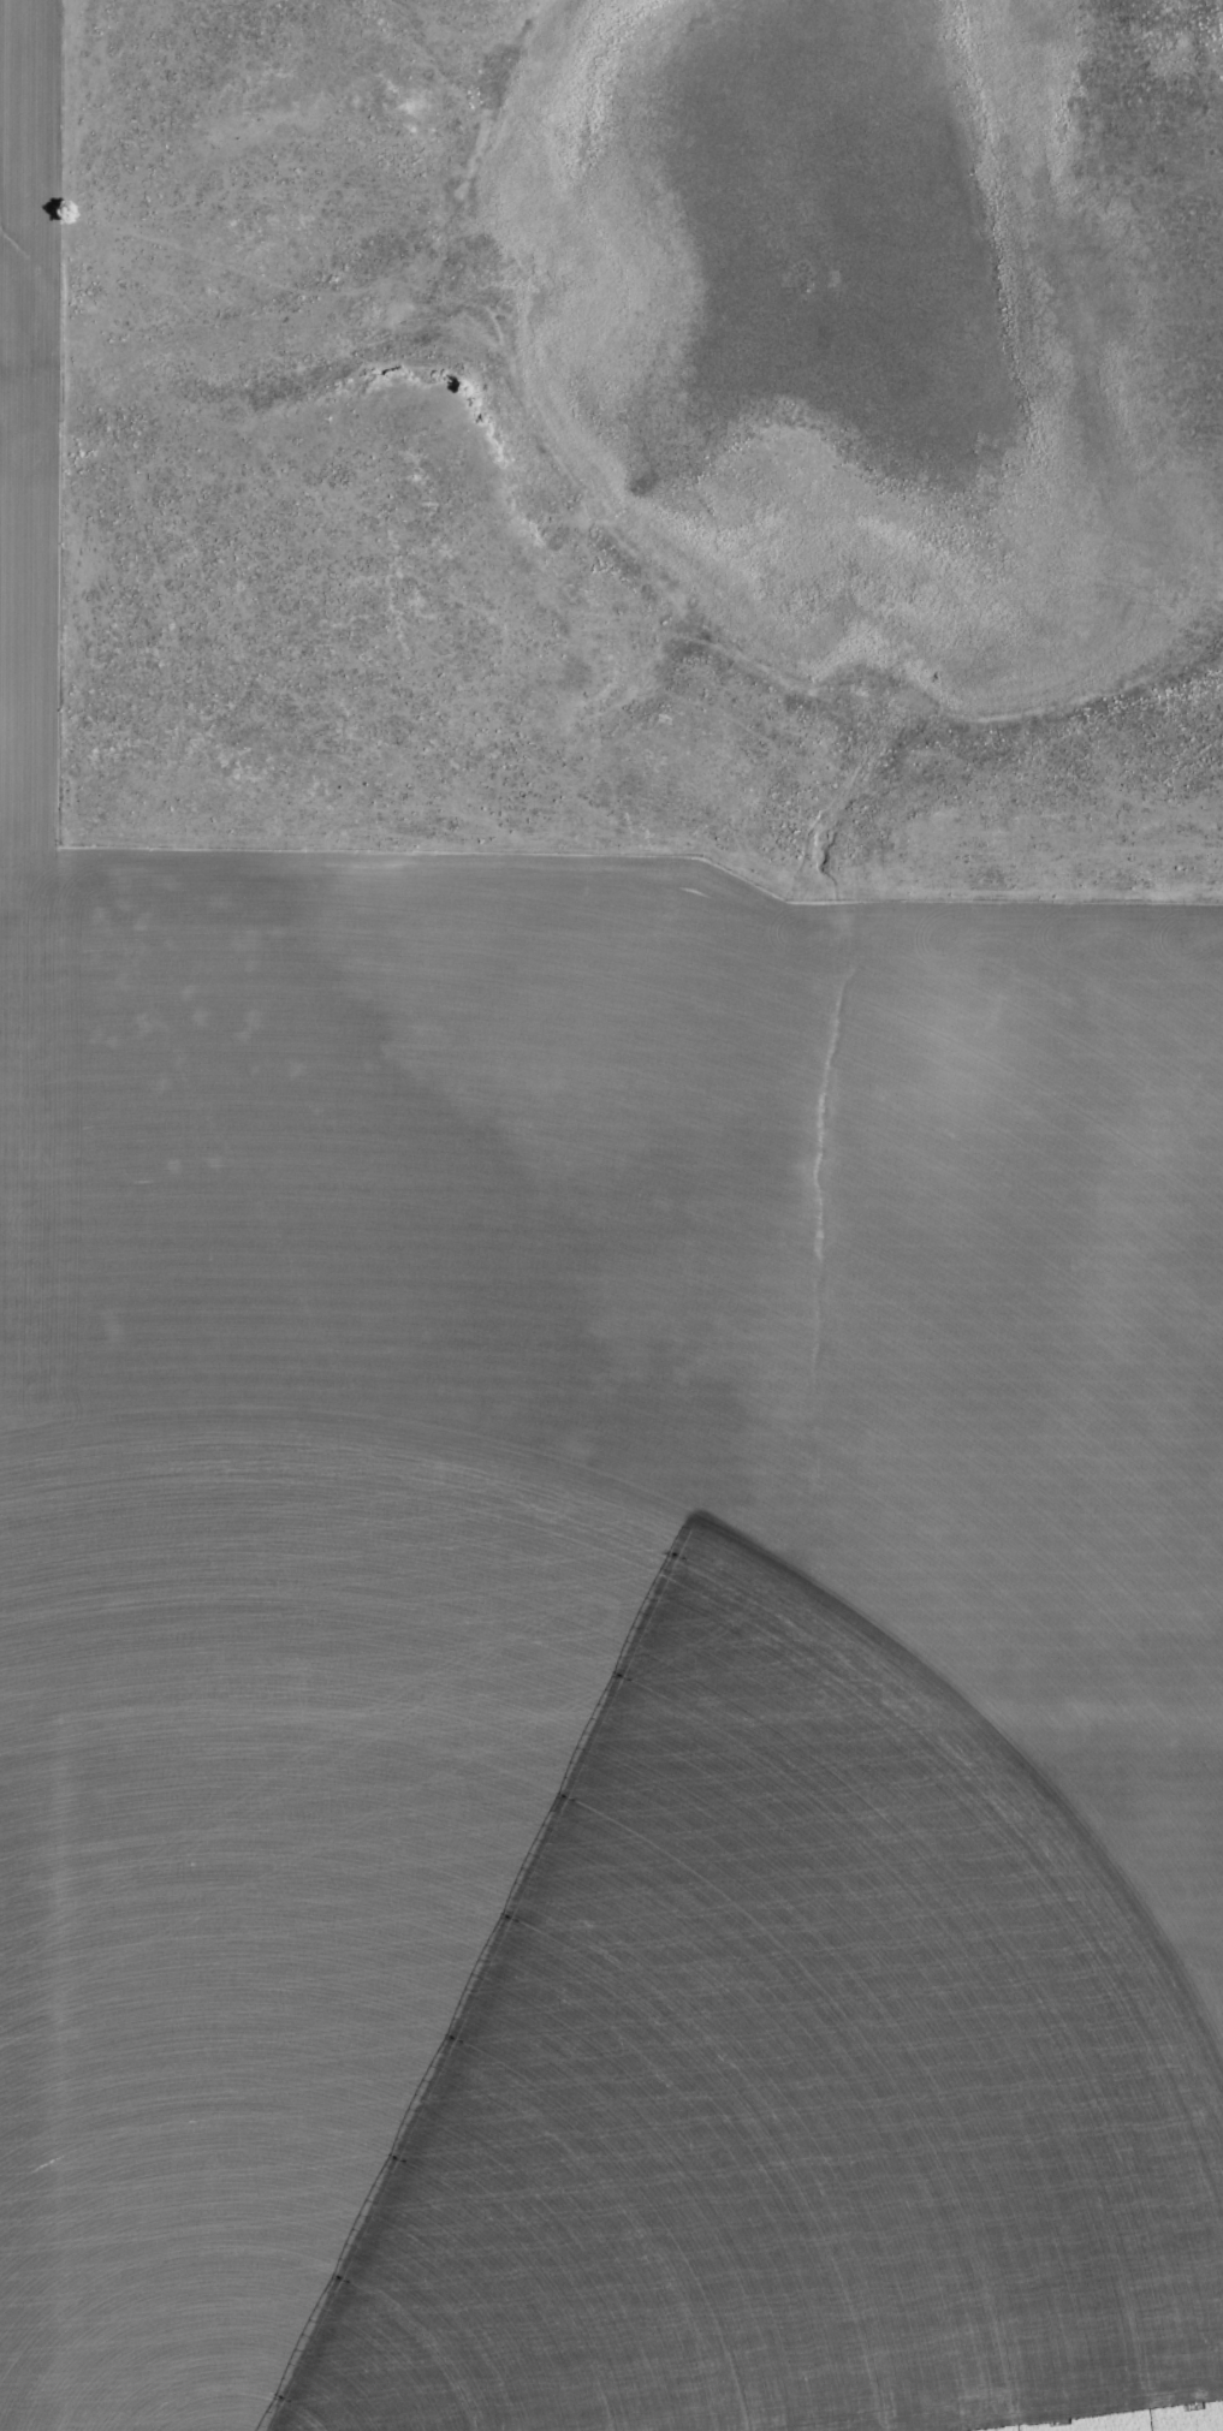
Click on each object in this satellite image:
road: (611, 1710)
road: (108, 2067)

